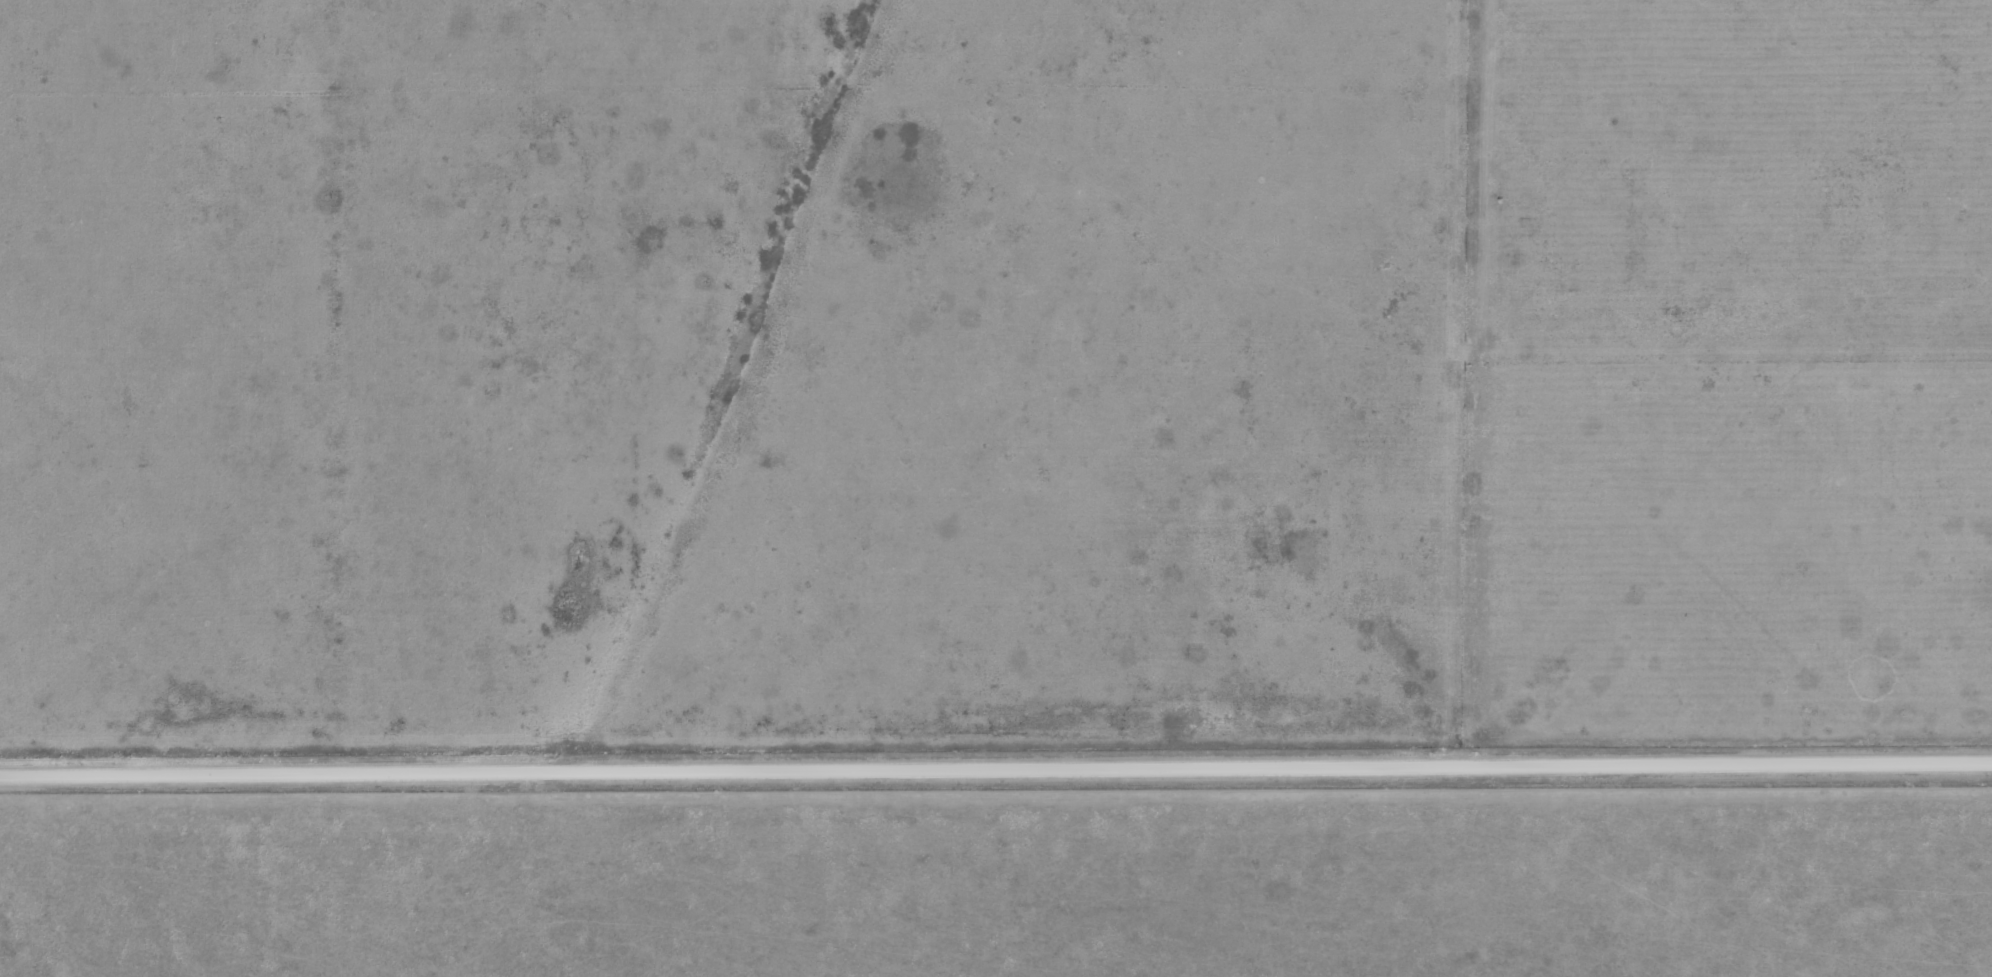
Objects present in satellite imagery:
road: (995, 767)

